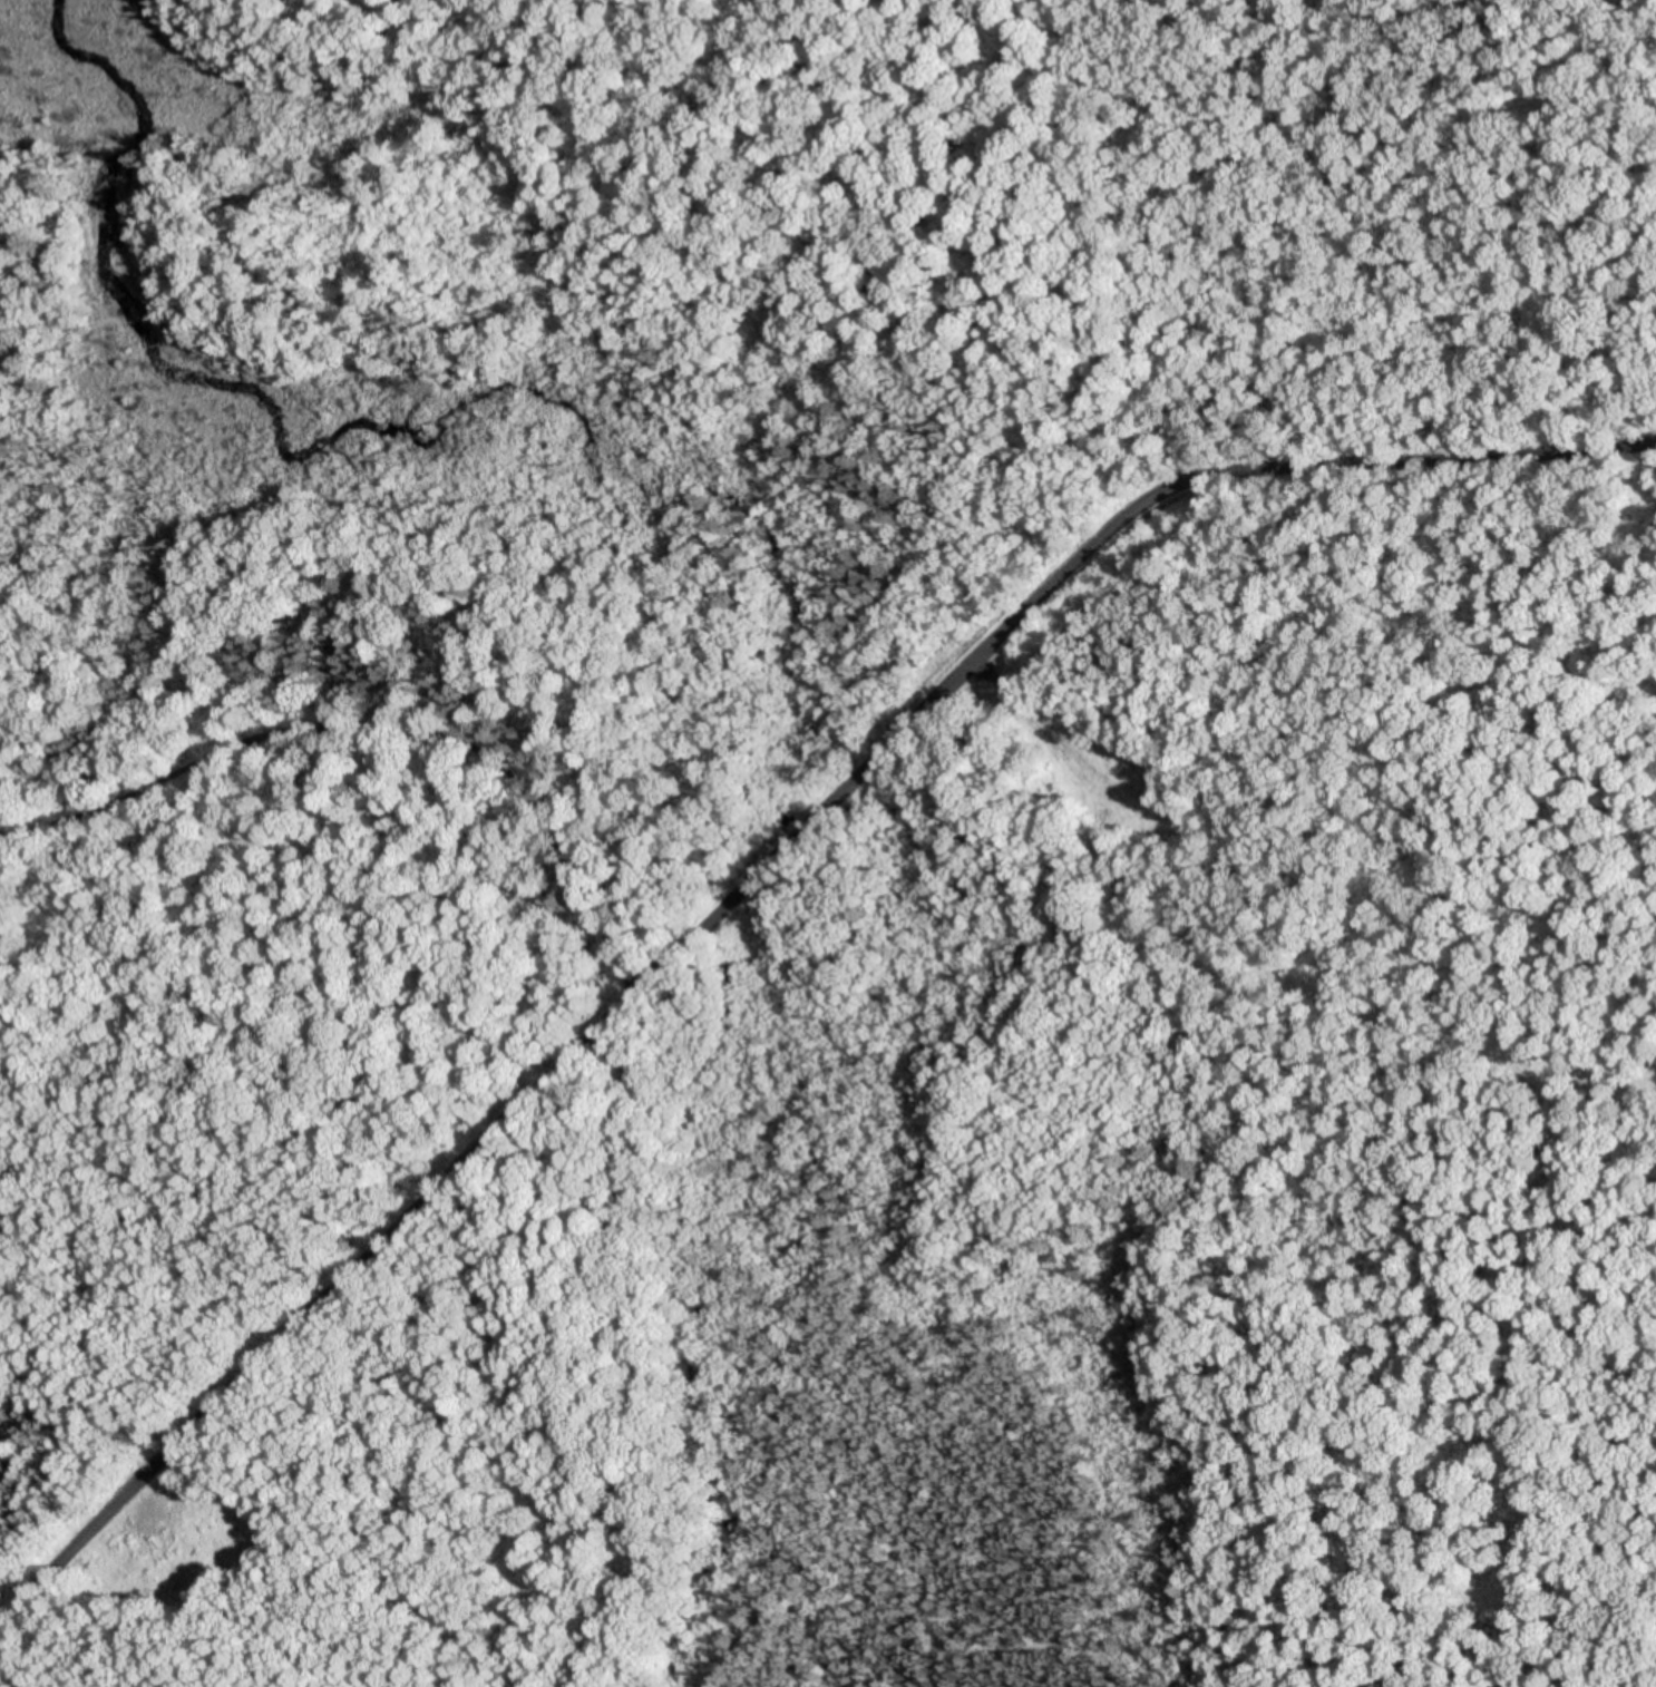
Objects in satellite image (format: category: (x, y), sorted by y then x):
road: (743, 885)

